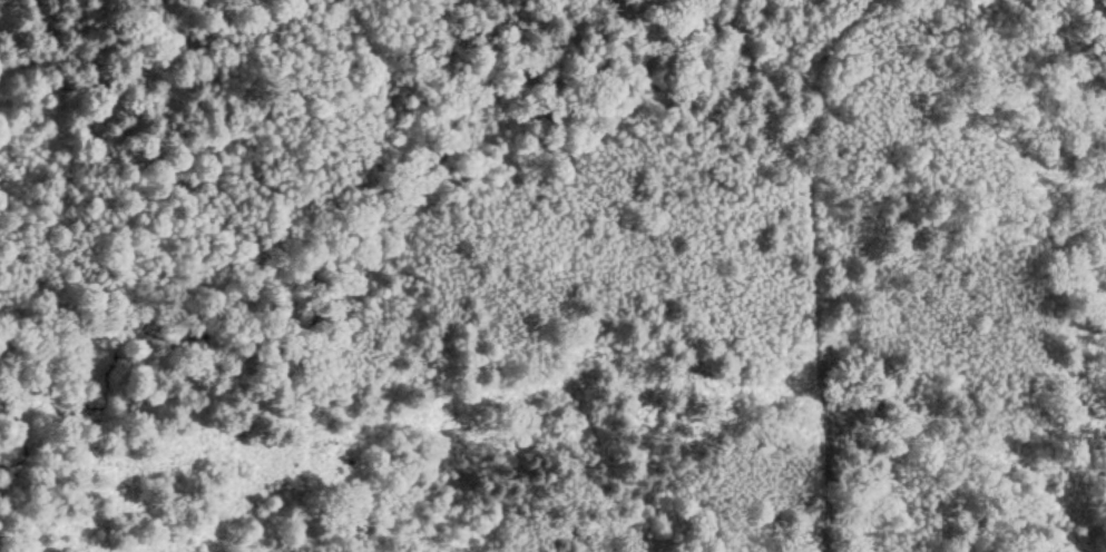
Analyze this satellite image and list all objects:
road: (811, 267)

